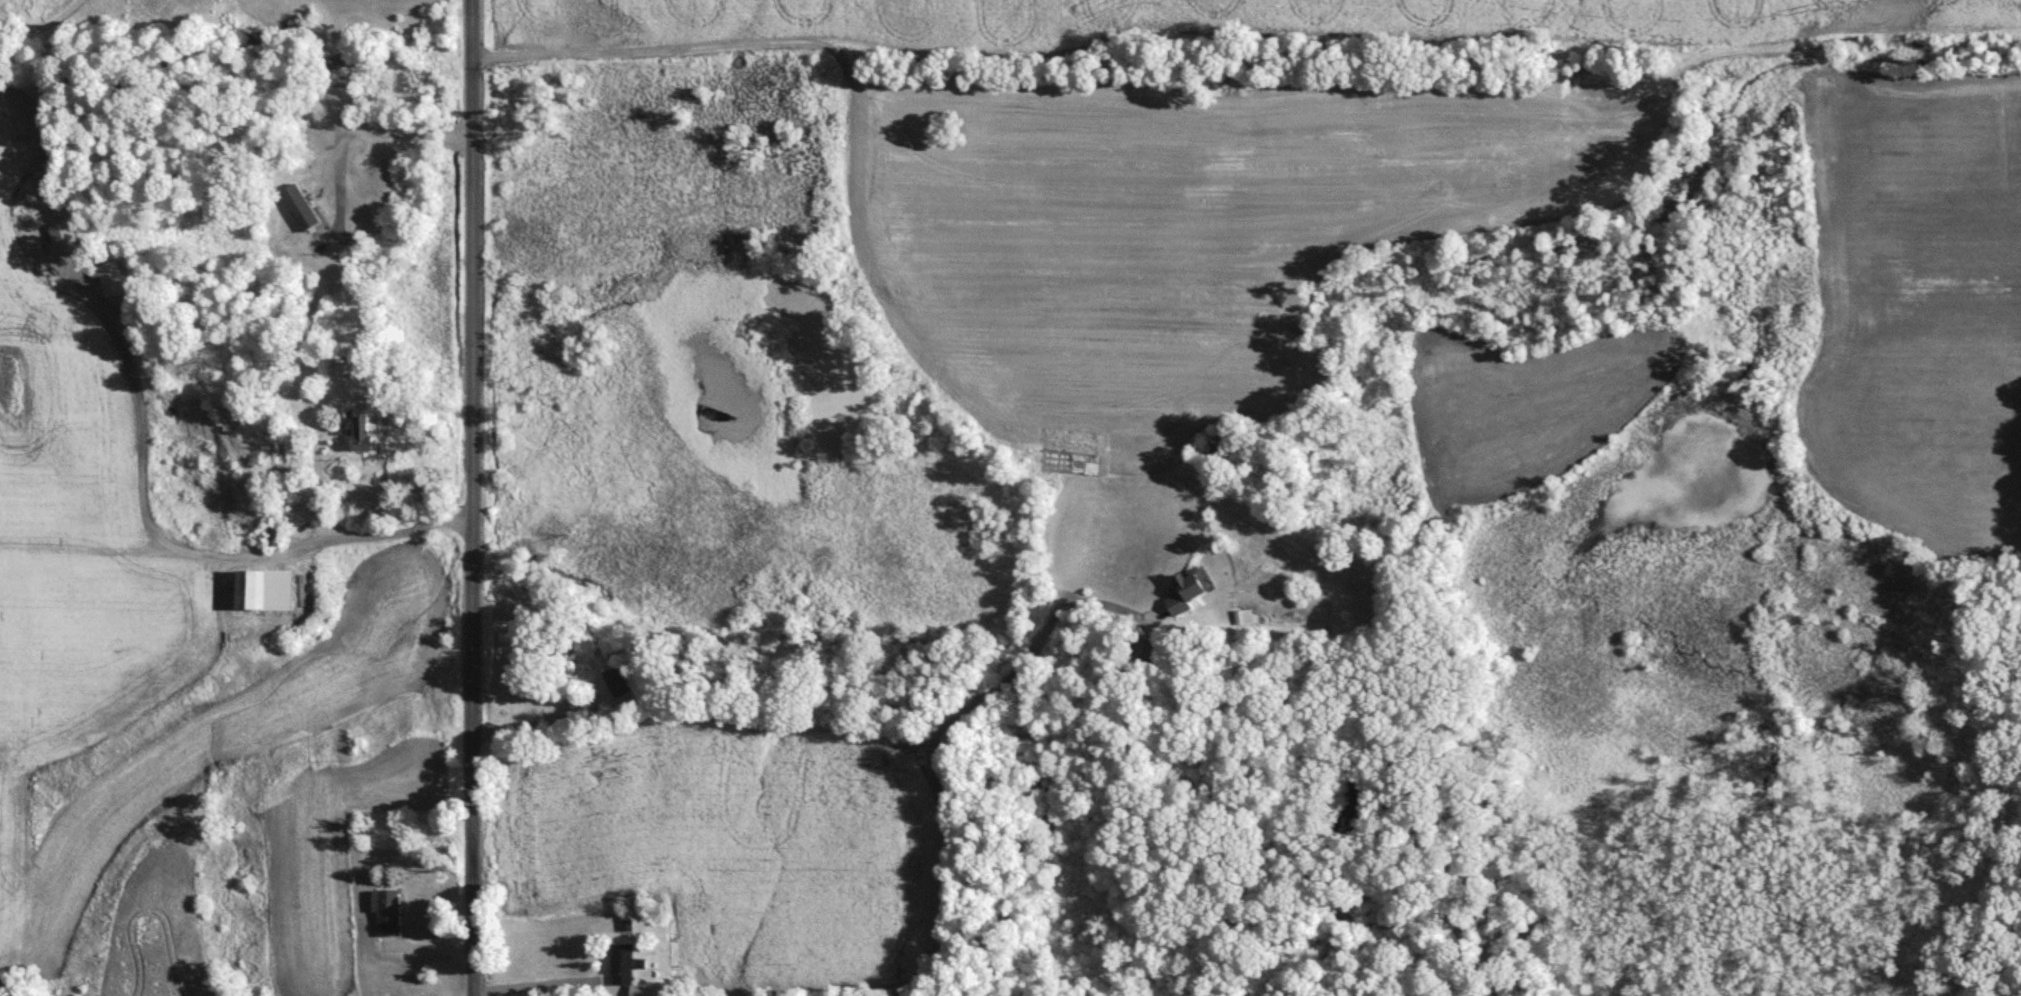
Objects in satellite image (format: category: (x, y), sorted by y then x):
building: (370, 435)
road: (312, 495)
road: (472, 498)
road: (167, 542)
building: (268, 591)
building: (1191, 592)
building: (1247, 618)
building: (564, 648)
building: (620, 683)
road: (534, 723)
road: (939, 738)
building: (389, 913)
building: (634, 972)
road: (547, 983)

